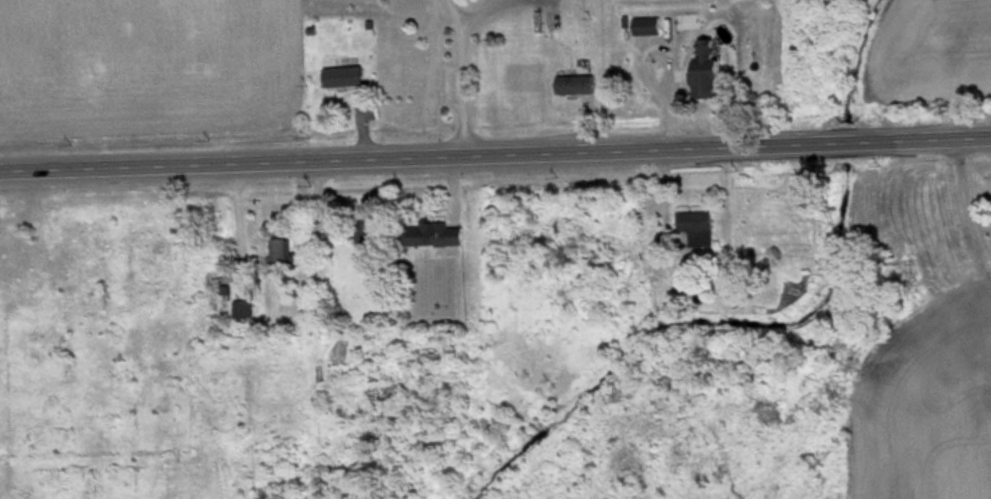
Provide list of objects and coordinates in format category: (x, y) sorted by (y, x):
building: (649, 29)
building: (709, 73)
building: (344, 79)
building: (578, 87)
road: (495, 152)
building: (699, 231)
building: (372, 237)
building: (436, 237)
building: (285, 255)
building: (245, 312)

